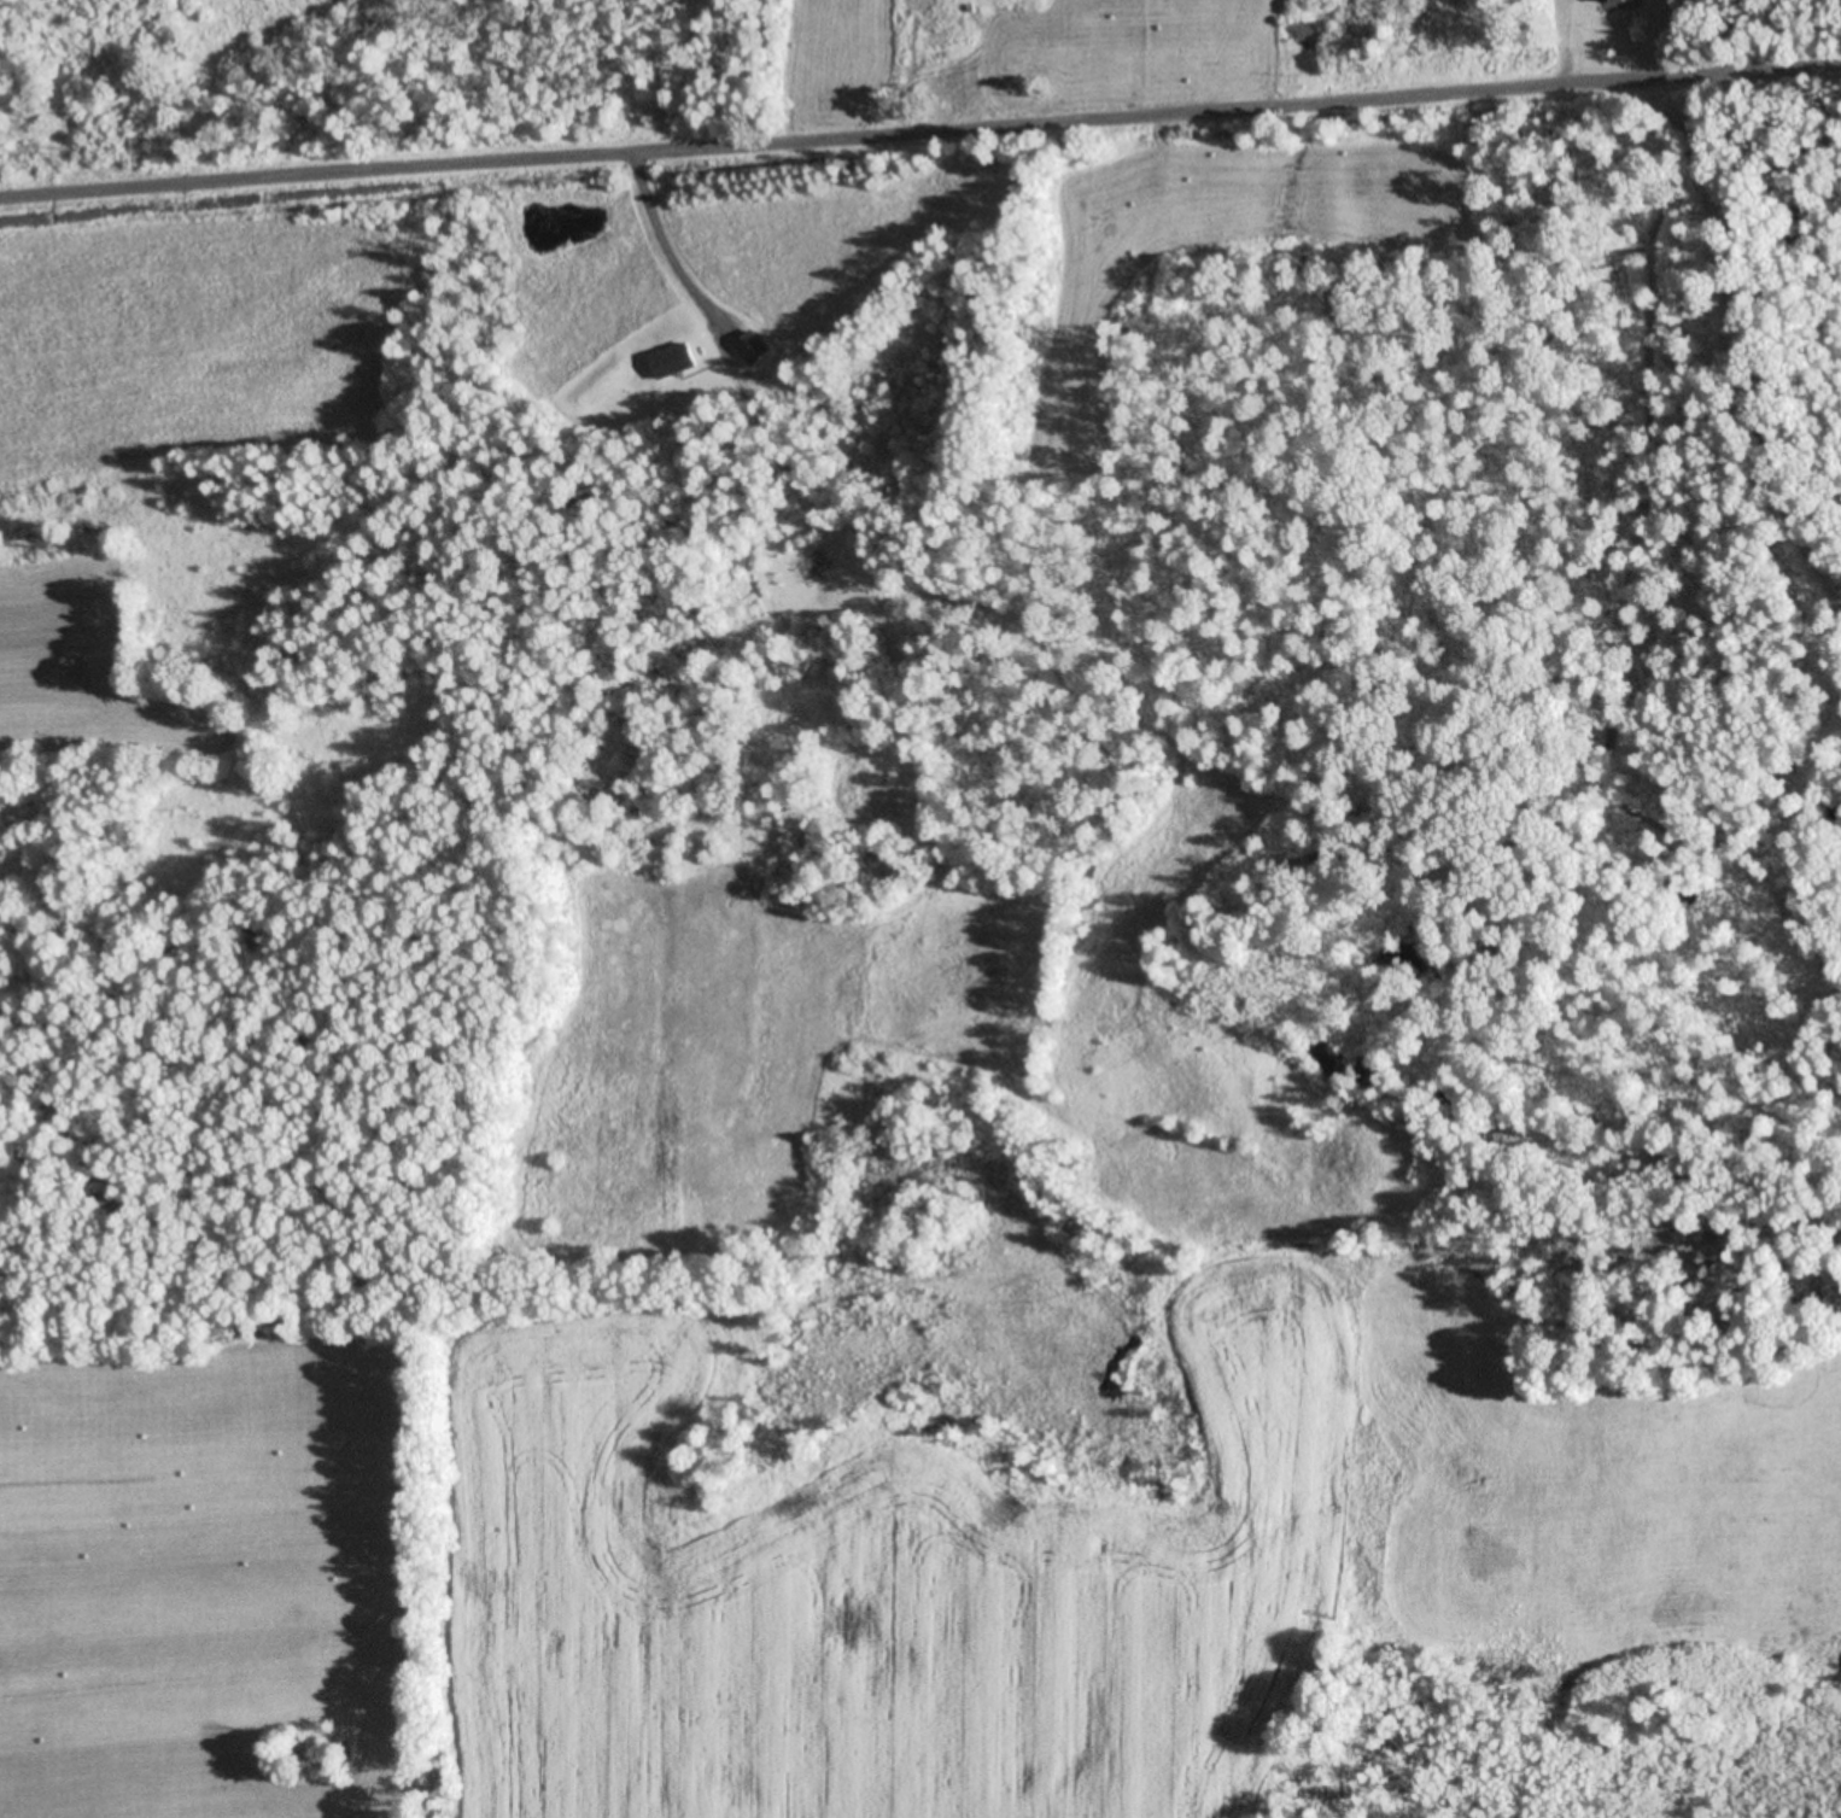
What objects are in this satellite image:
building: (1609, 1)
road: (919, 122)
building: (755, 349)
building: (678, 361)

